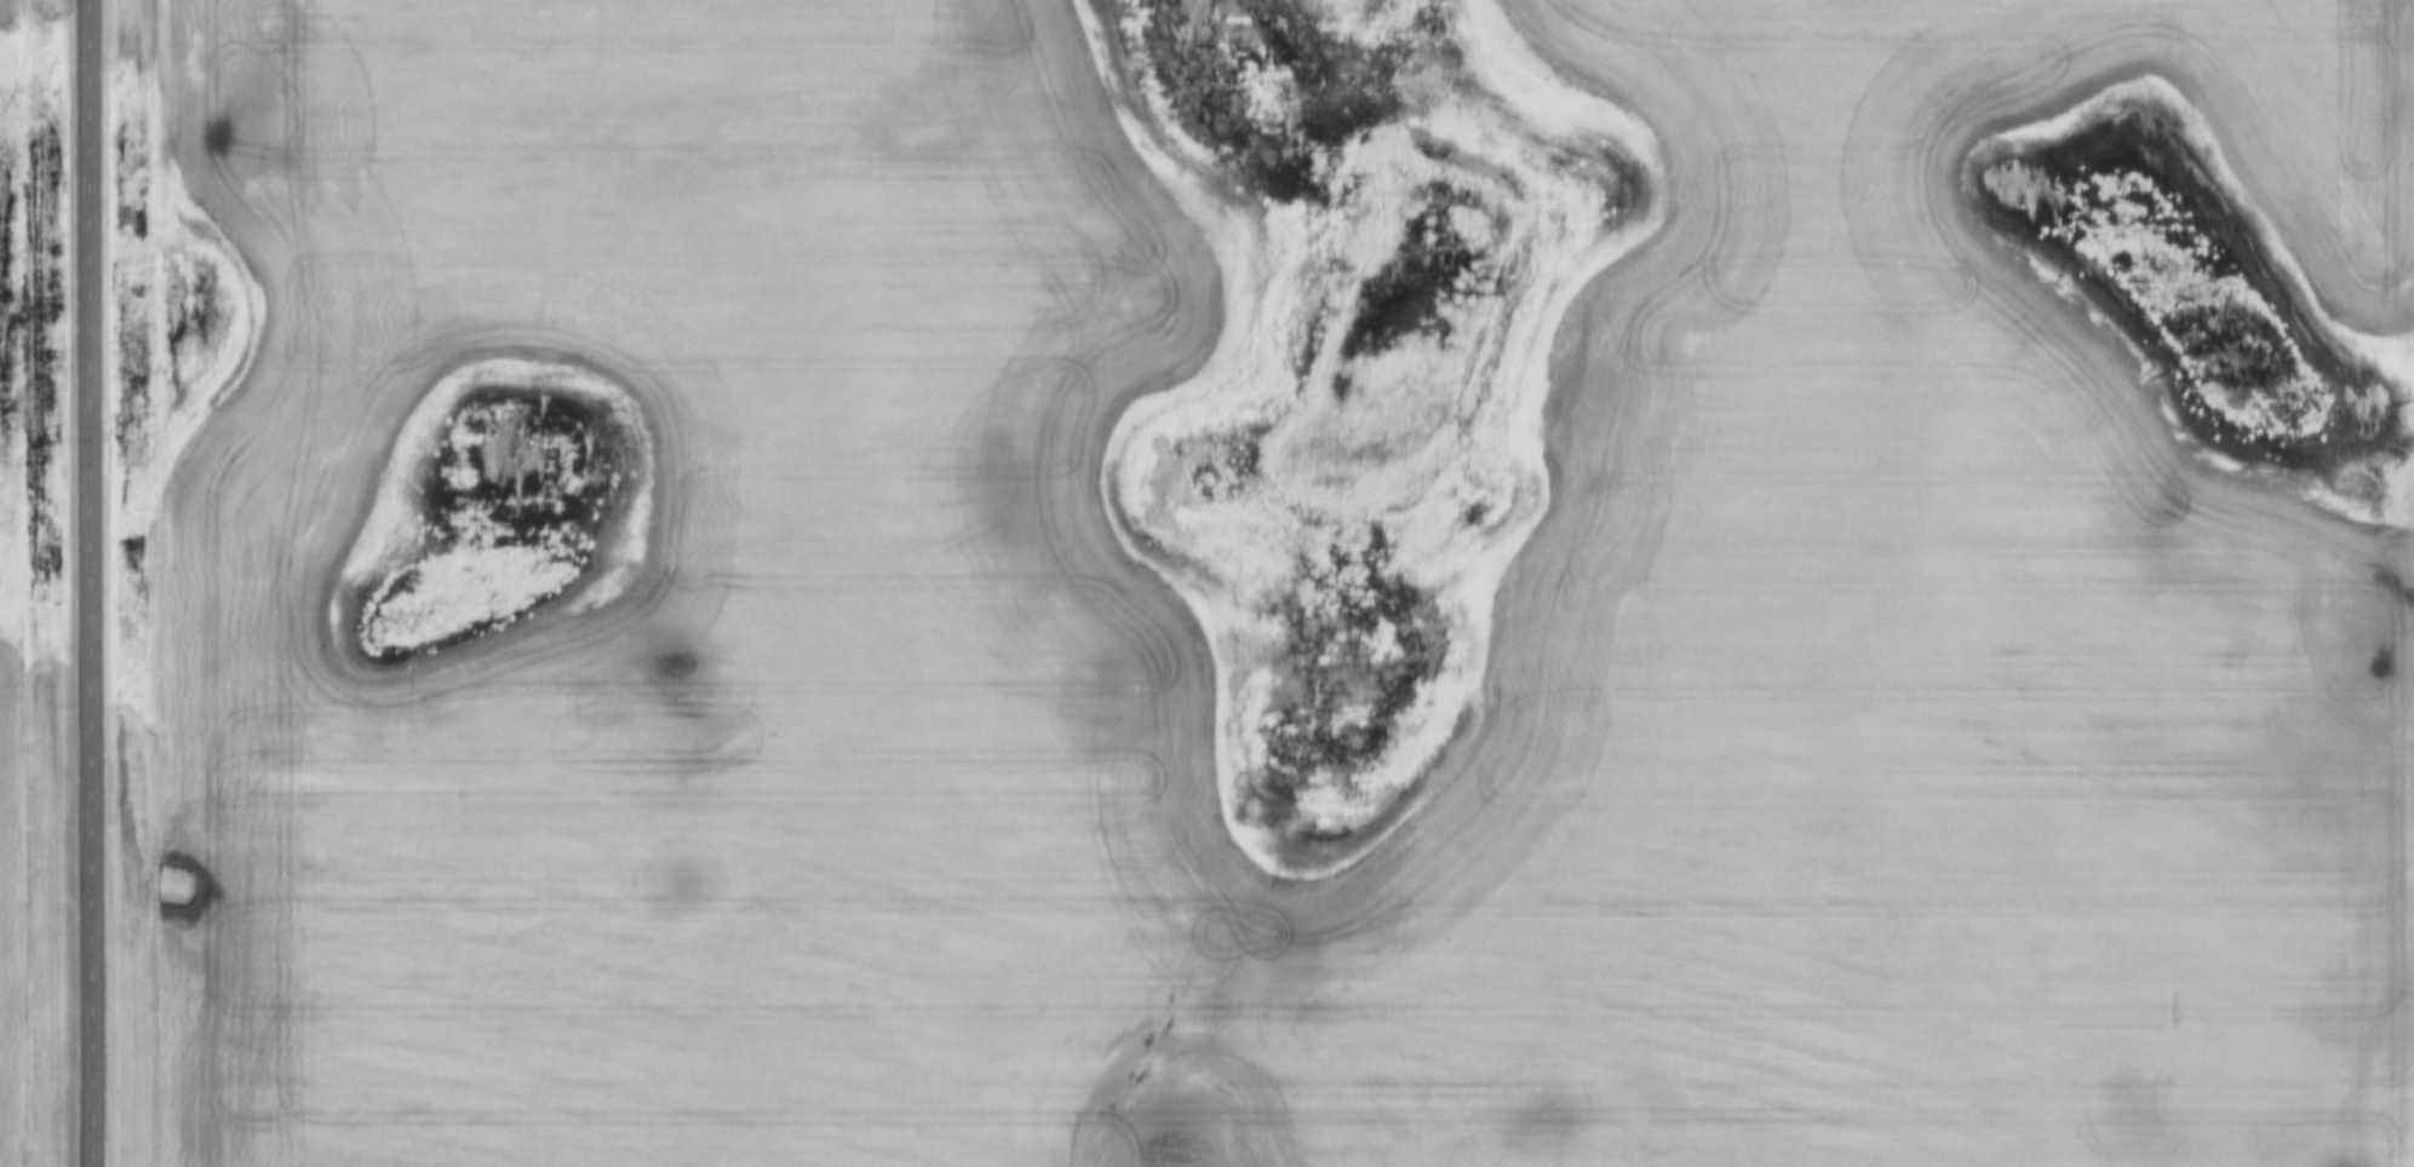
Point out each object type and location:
road: (91, 583)

